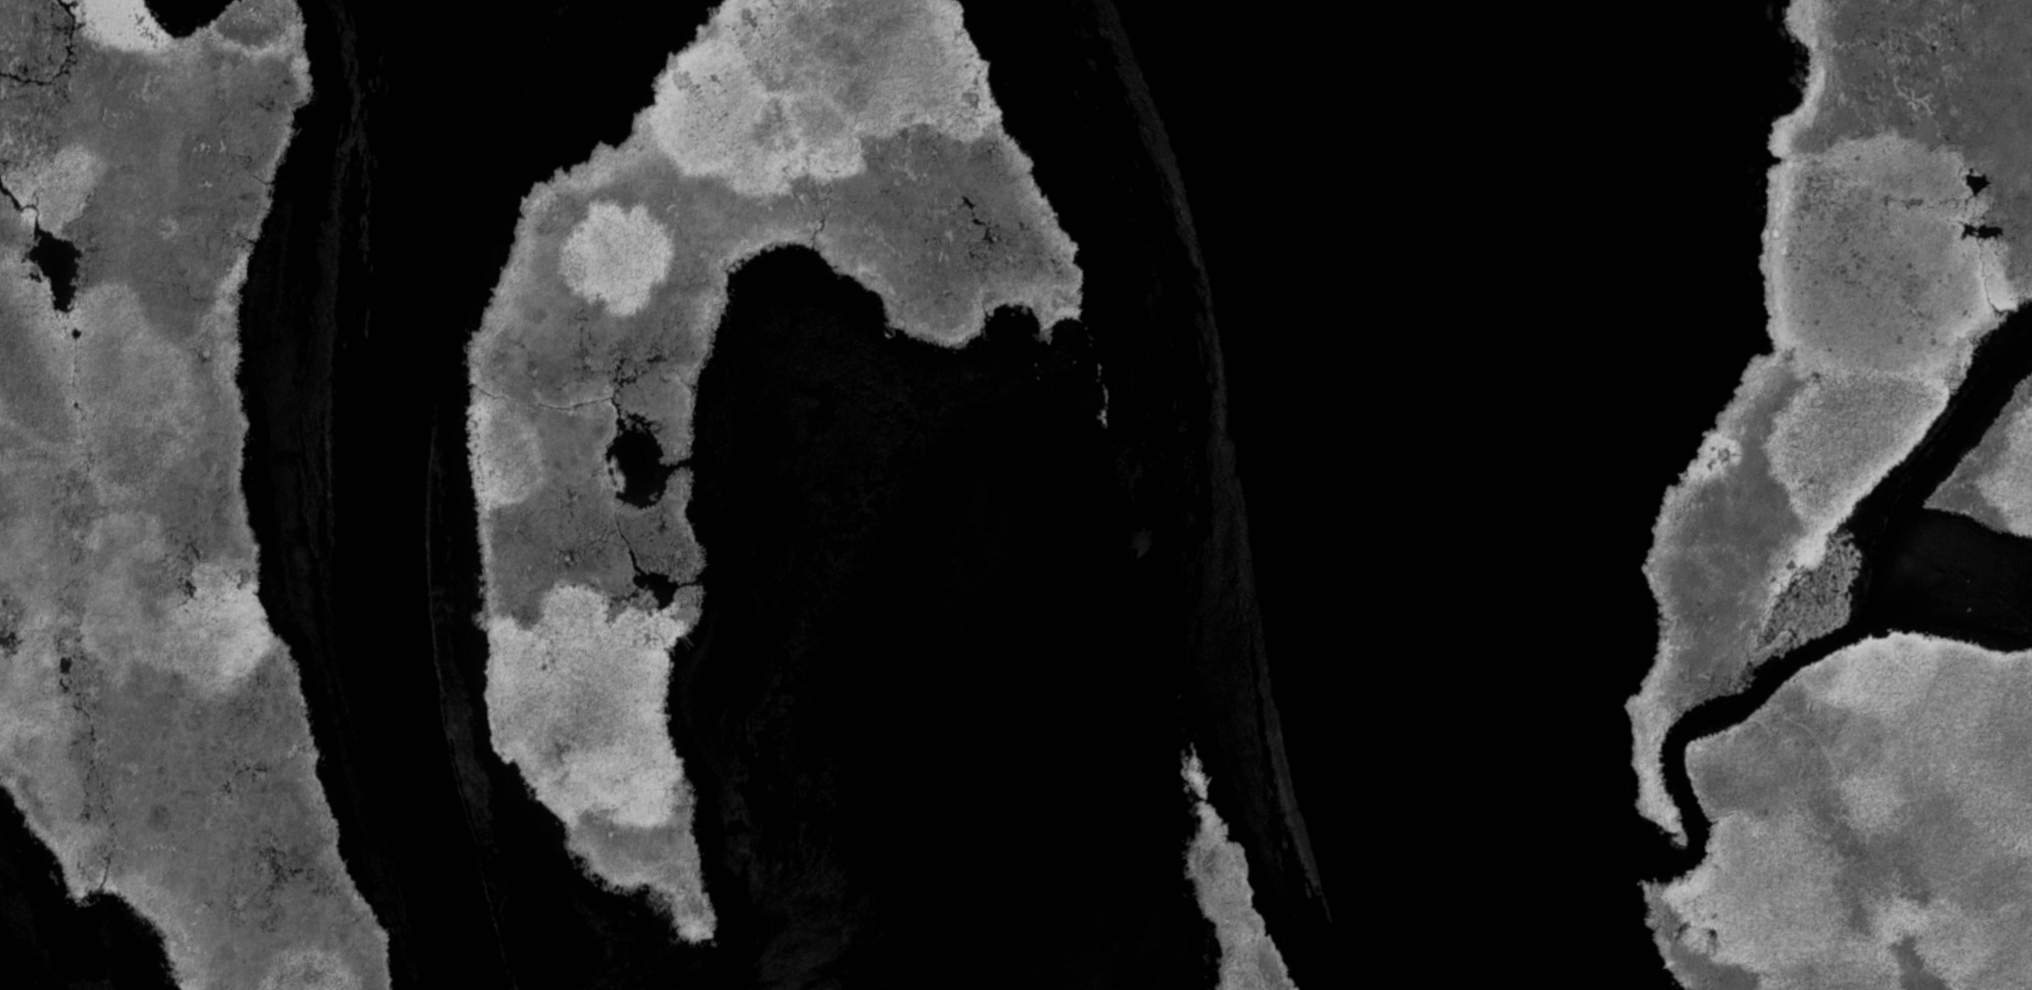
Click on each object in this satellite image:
river: (1438, 483)

